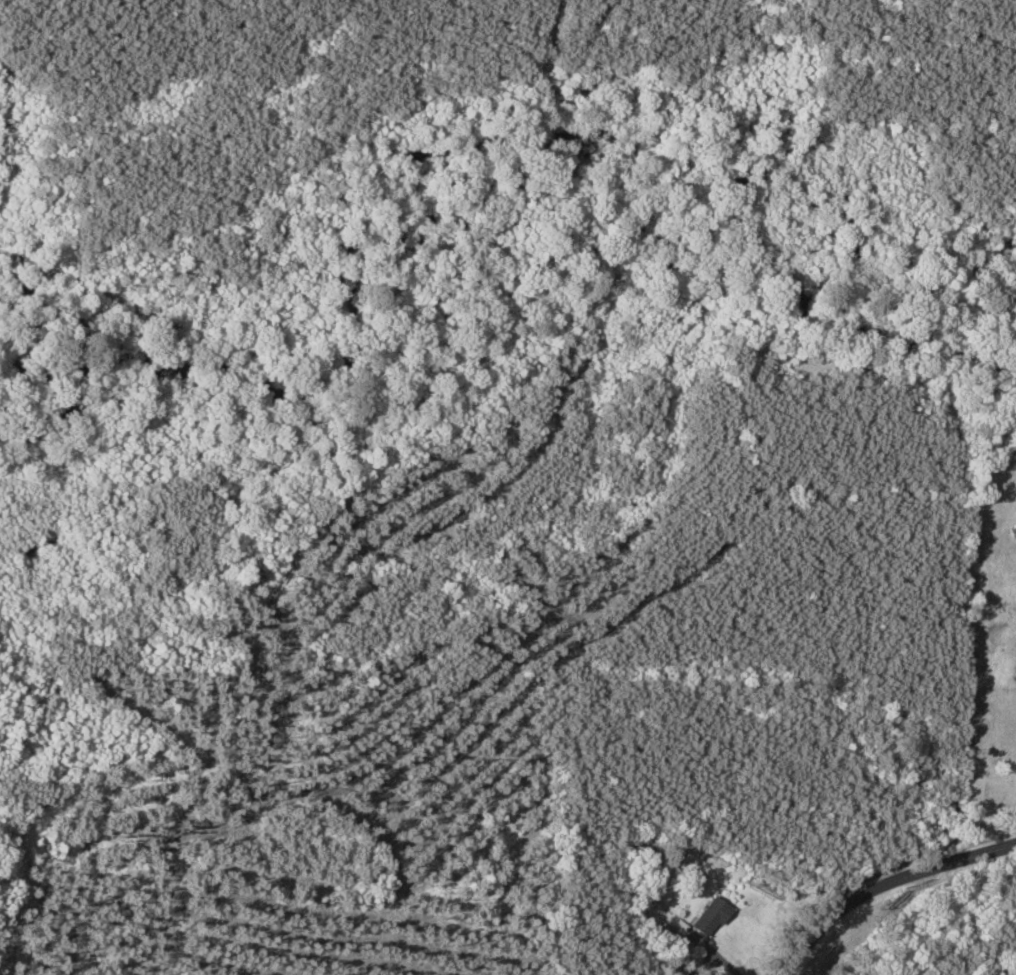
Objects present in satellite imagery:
road: (885, 883)
building: (710, 916)
road: (681, 932)

